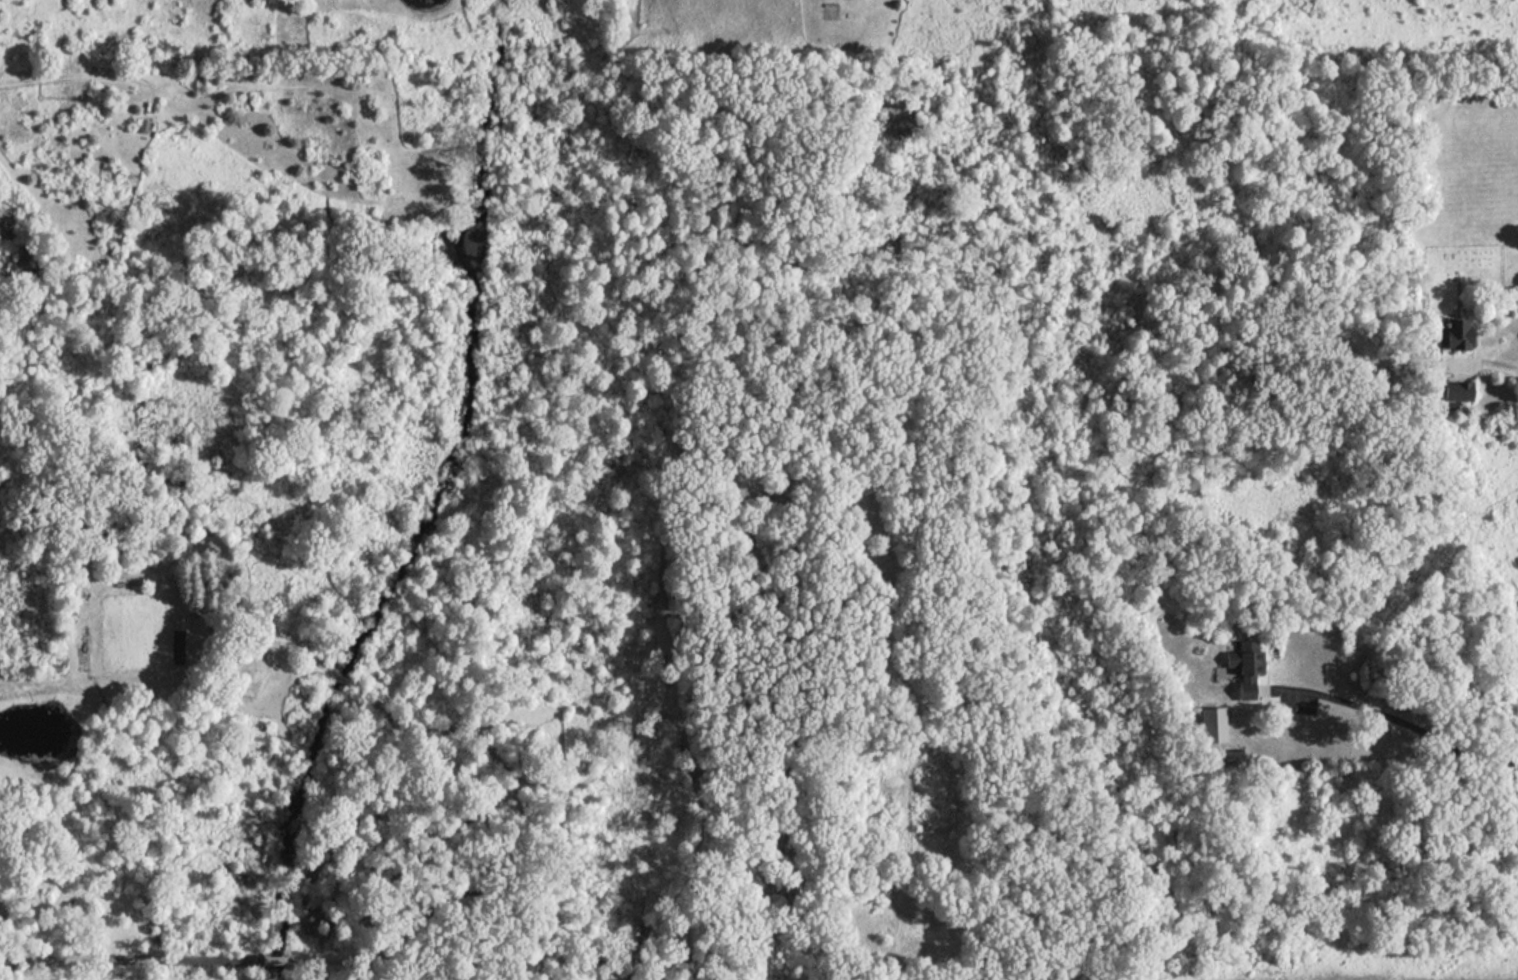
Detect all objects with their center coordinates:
building: (1456, 333)
road: (1495, 365)
building: (1458, 391)
building: (1246, 666)
road: (1399, 722)
building: (1213, 724)
building: (1231, 754)
road: (131, 957)
road: (278, 960)
road: (315, 961)

